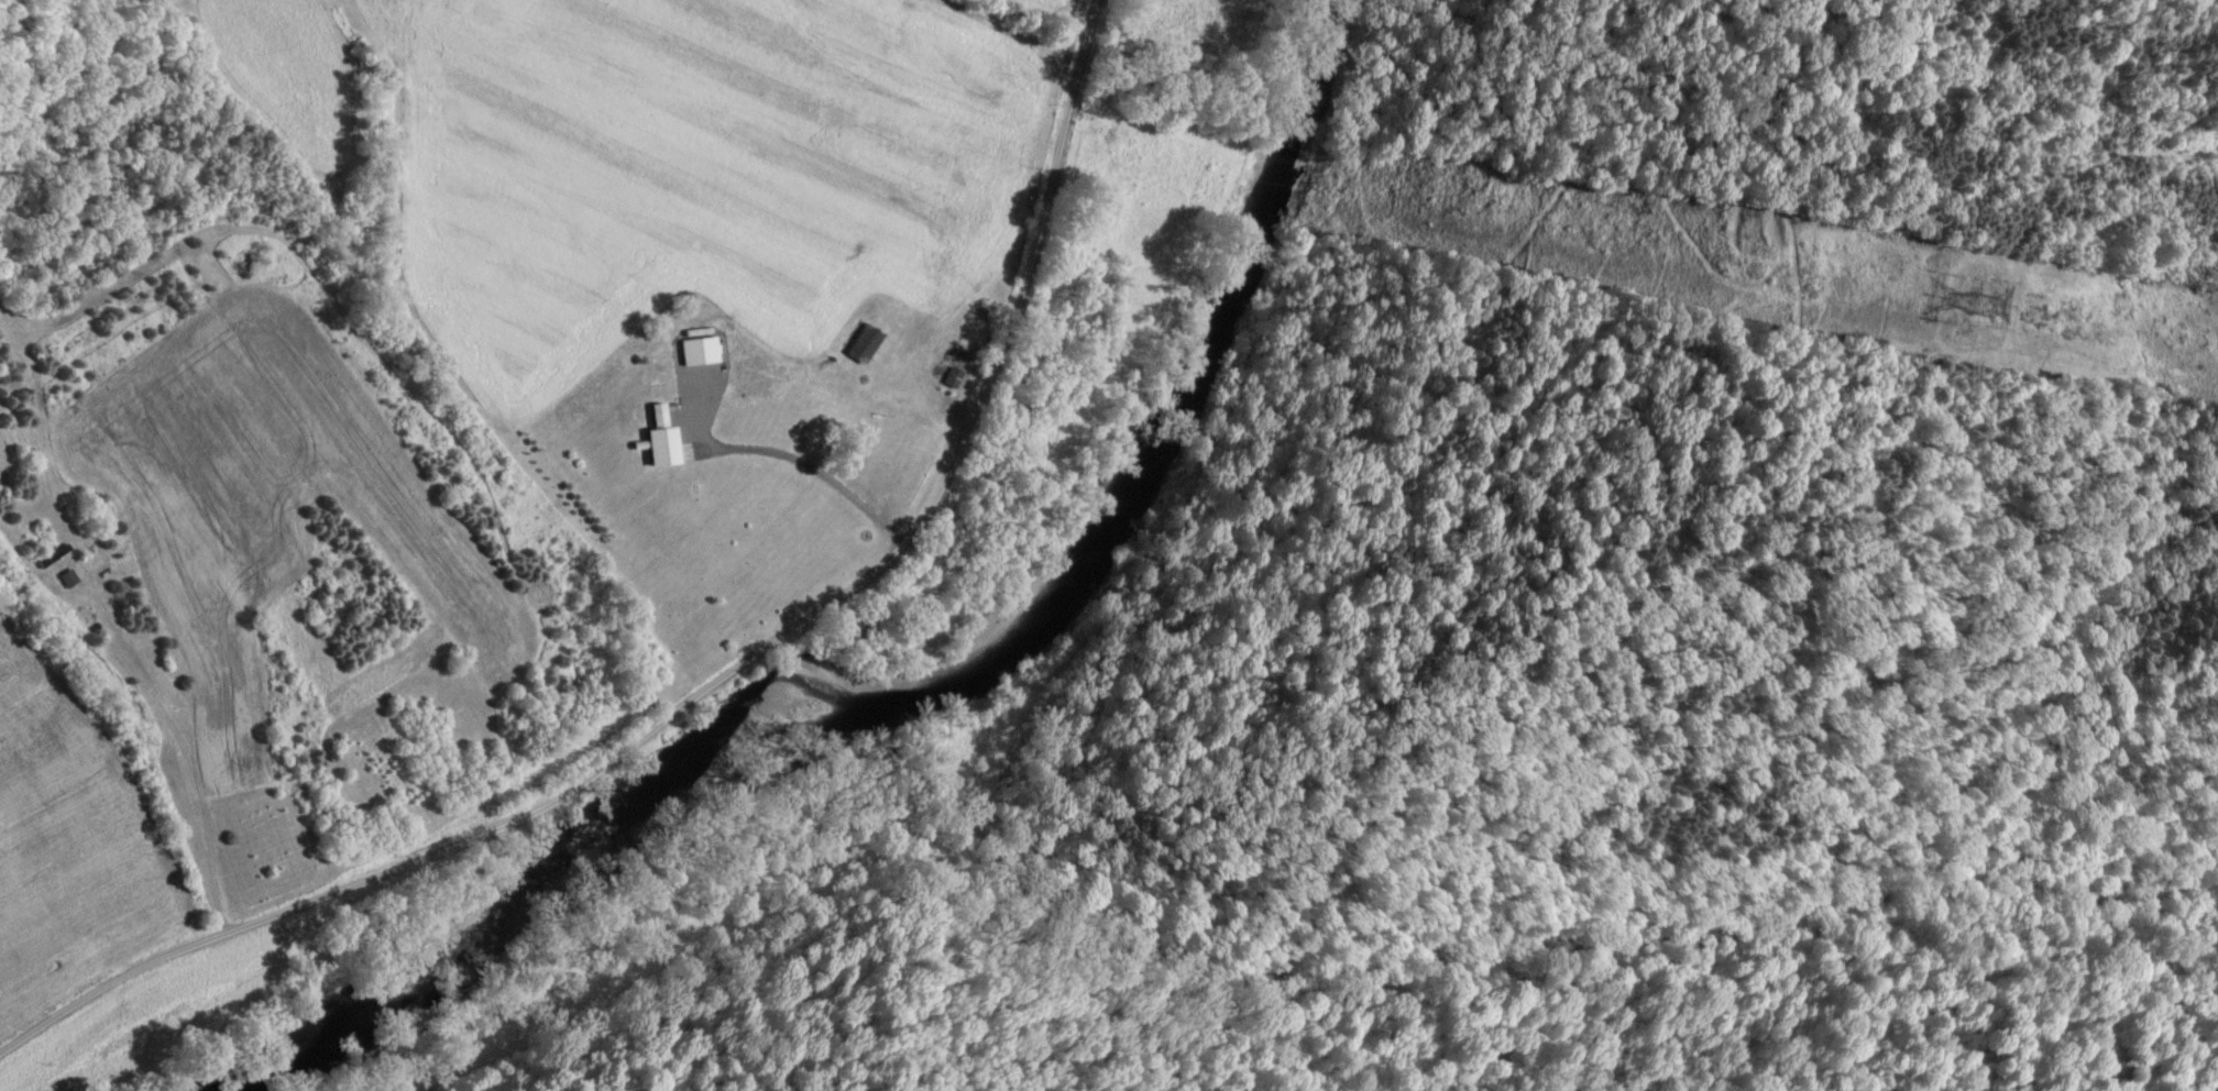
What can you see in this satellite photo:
power tower: (1983, 306)
building: (860, 345)
building: (694, 353)
building: (948, 381)
crop: (494, 419)
building: (657, 442)
building: (65, 580)
road: (716, 679)
river: (914, 706)

